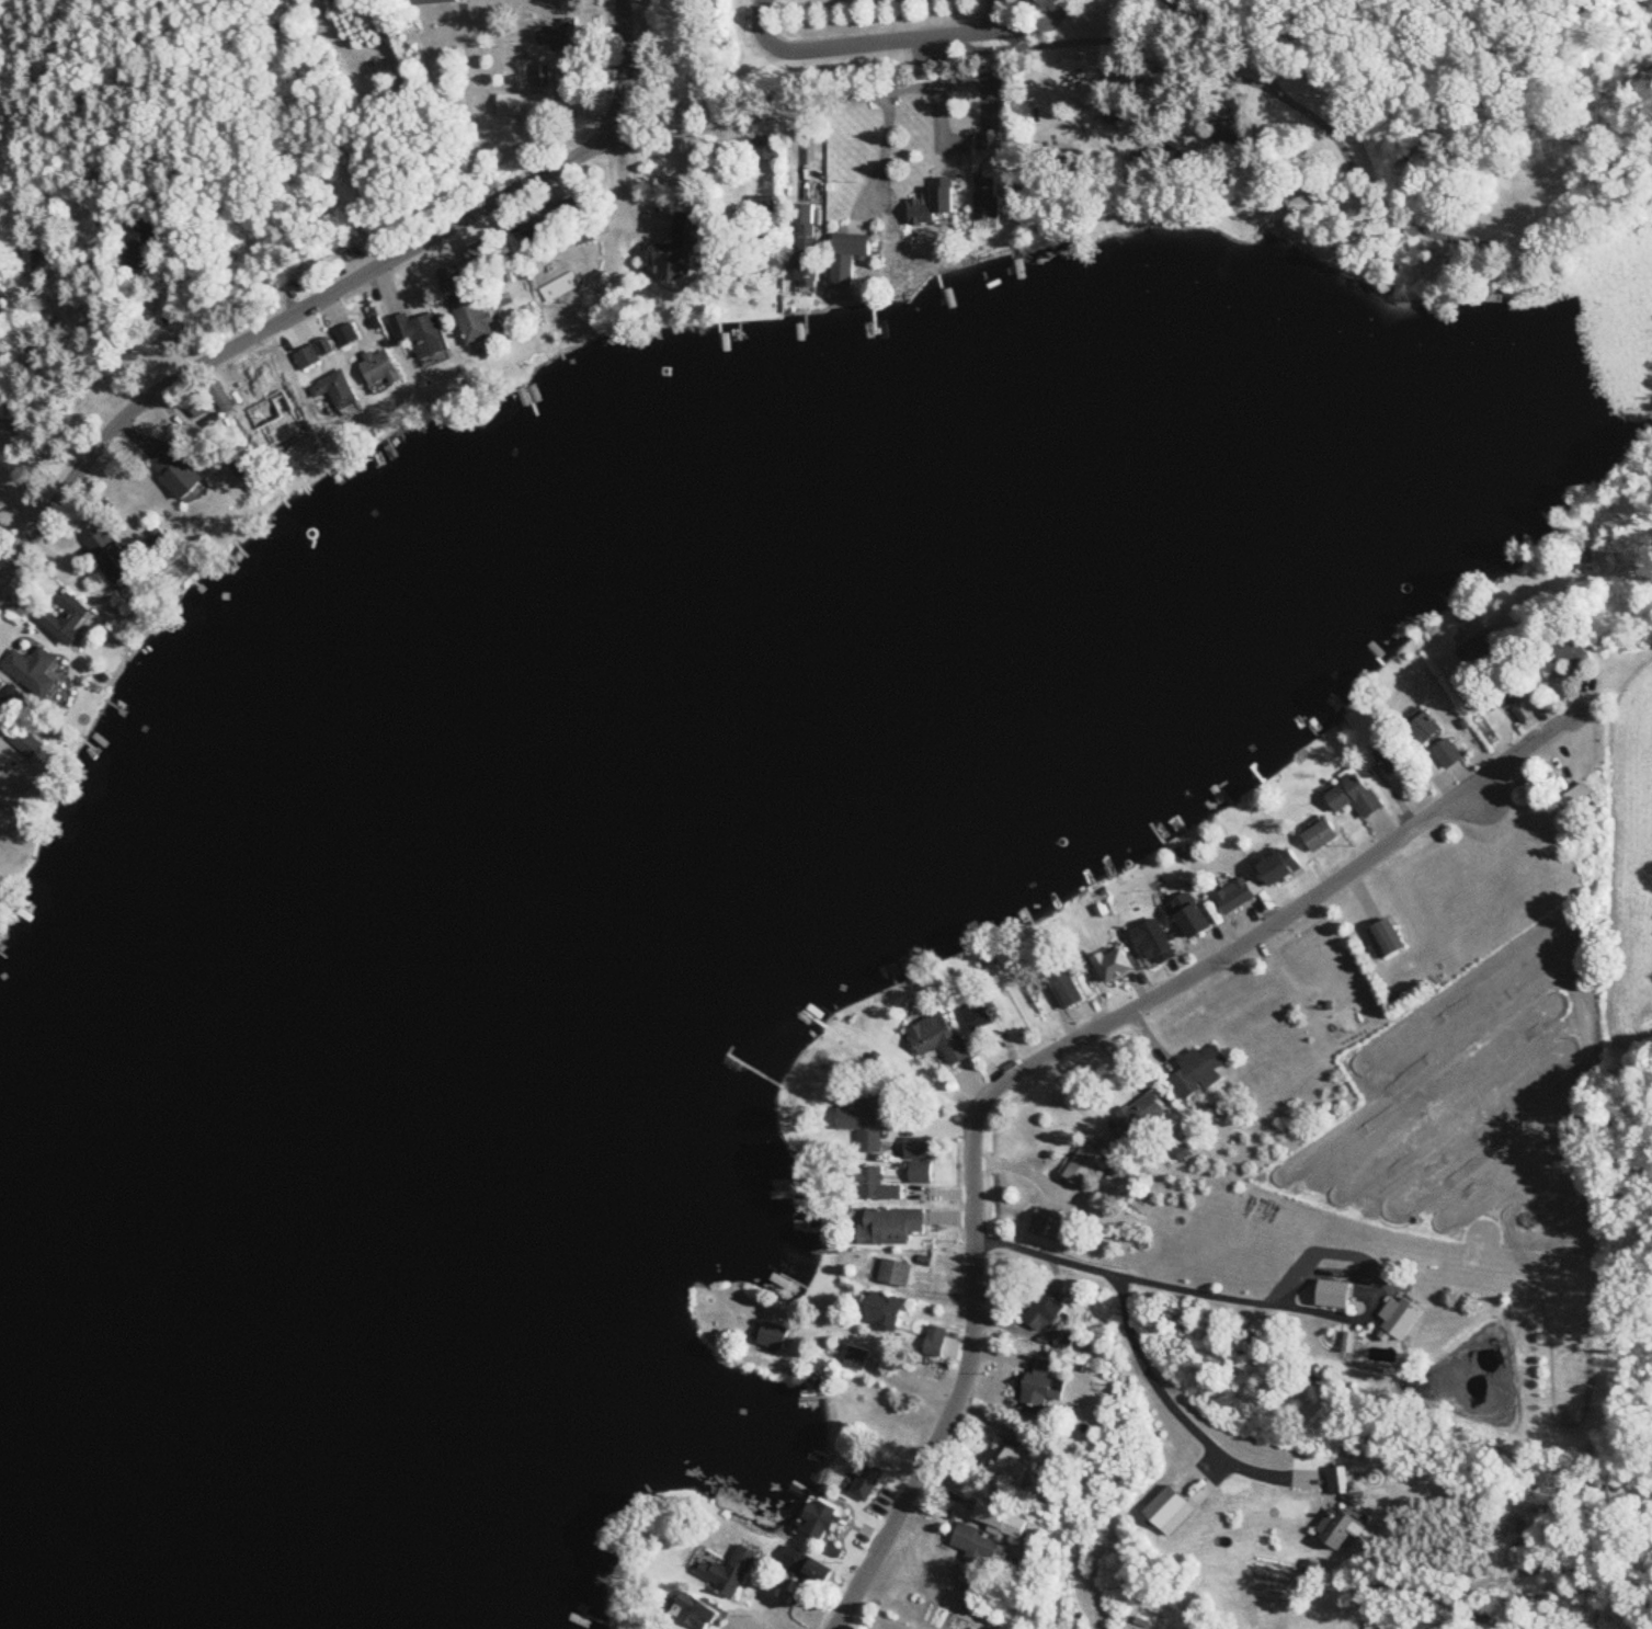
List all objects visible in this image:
building: (433, 1)
road: (993, 13)
road: (1034, 23)
building: (560, 37)
road: (859, 39)
road: (626, 65)
road: (987, 92)
building: (523, 104)
road: (752, 118)
park: (1245, 122)
building: (766, 148)
road: (886, 155)
road: (624, 174)
building: (988, 202)
building: (935, 205)
building: (552, 218)
building: (585, 236)
building: (143, 243)
building: (808, 246)
building: (683, 248)
building: (486, 254)
building: (851, 257)
building: (561, 287)
building: (468, 307)
road: (281, 322)
building: (349, 335)
building: (424, 337)
building: (309, 357)
building: (381, 367)
building: (339, 391)
building: (179, 471)
building: (115, 558)
building: (67, 619)
building: (1571, 648)
building: (1479, 652)
building: (33, 668)
building: (1508, 692)
building: (1424, 726)
building: (25, 741)
building: (1448, 751)
building: (1390, 755)
building: (2, 779)
building: (1355, 795)
building: (1583, 799)
building: (1320, 834)
building: (1280, 863)
building: (1240, 892)
building: (1193, 913)
building: (1387, 936)
building: (1155, 941)
building: (1116, 962)
building: (1063, 981)
building: (978, 1014)
building: (938, 1035)
road: (1055, 1050)
building: (1199, 1070)
building: (1137, 1115)
building: (866, 1118)
building: (919, 1147)
road: (1021, 1159)
building: (1087, 1164)
building: (921, 1170)
building: (875, 1183)
building: (1051, 1224)
building: (891, 1226)
building: (1090, 1240)
road: (1048, 1253)
building: (895, 1272)
building: (1336, 1292)
building: (885, 1309)
building: (1045, 1311)
road: (1334, 1313)
building: (1401, 1318)
building: (774, 1335)
building: (1064, 1338)
building: (935, 1340)
building: (856, 1358)
building: (1045, 1382)
road: (1172, 1400)
building: (1015, 1461)
building: (865, 1479)
building: (1340, 1479)
building: (1001, 1517)
building: (822, 1518)
building: (1342, 1525)
road: (1574, 1530)
building: (979, 1543)
building: (807, 1564)
building: (729, 1569)
building: (695, 1610)

